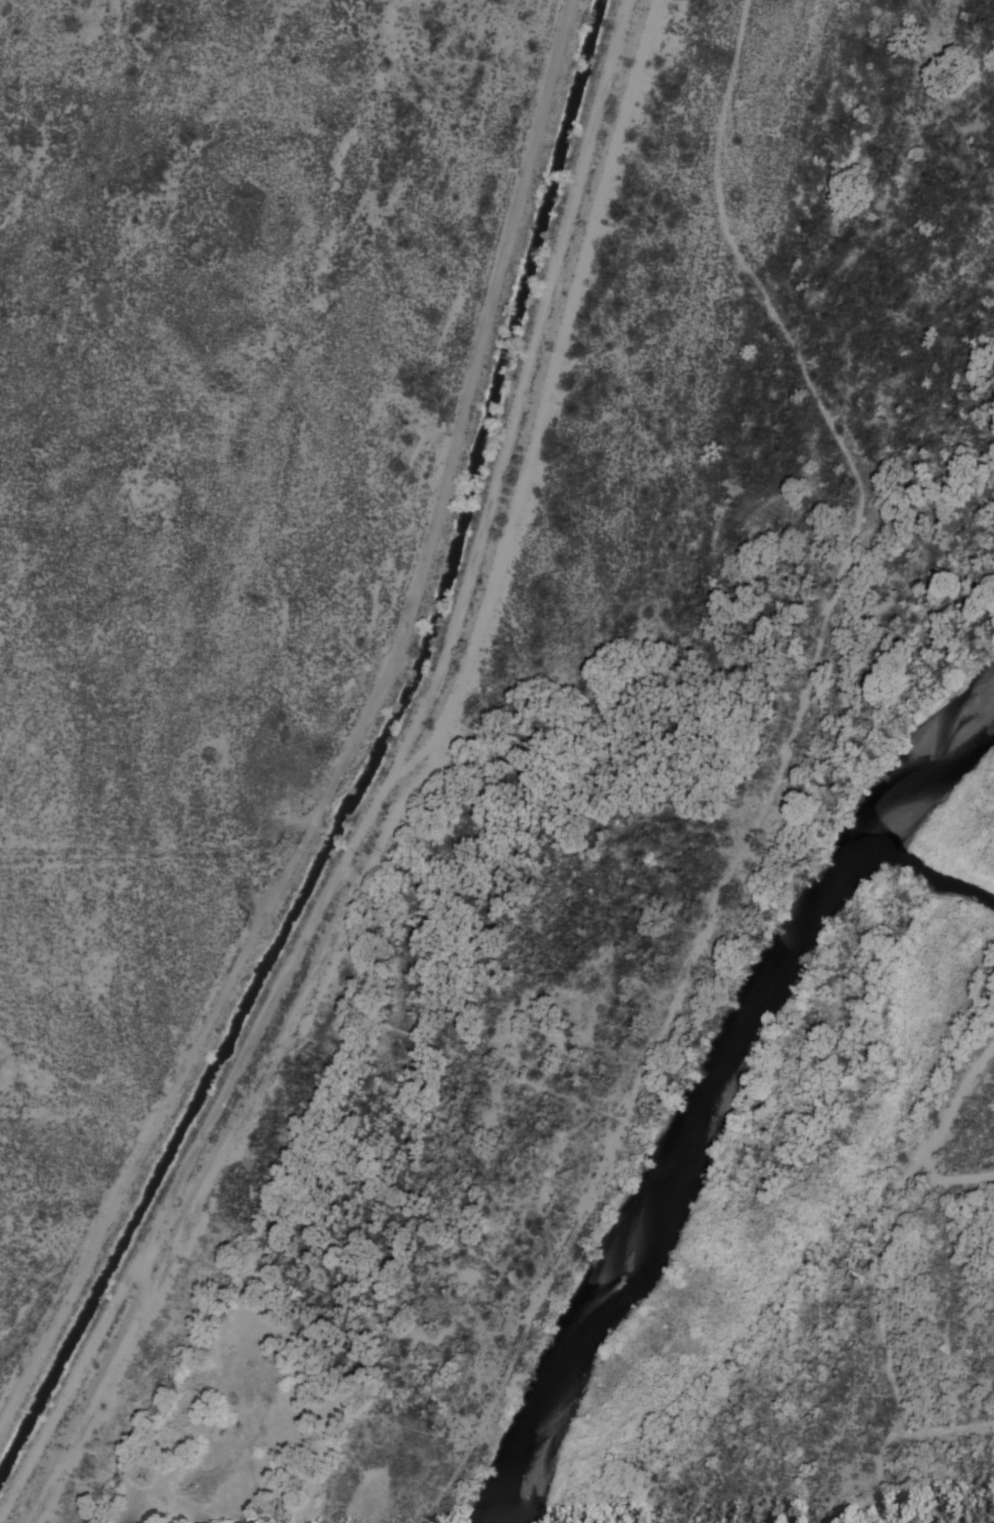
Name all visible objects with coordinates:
road: (66, 1069)
river: (706, 1095)

